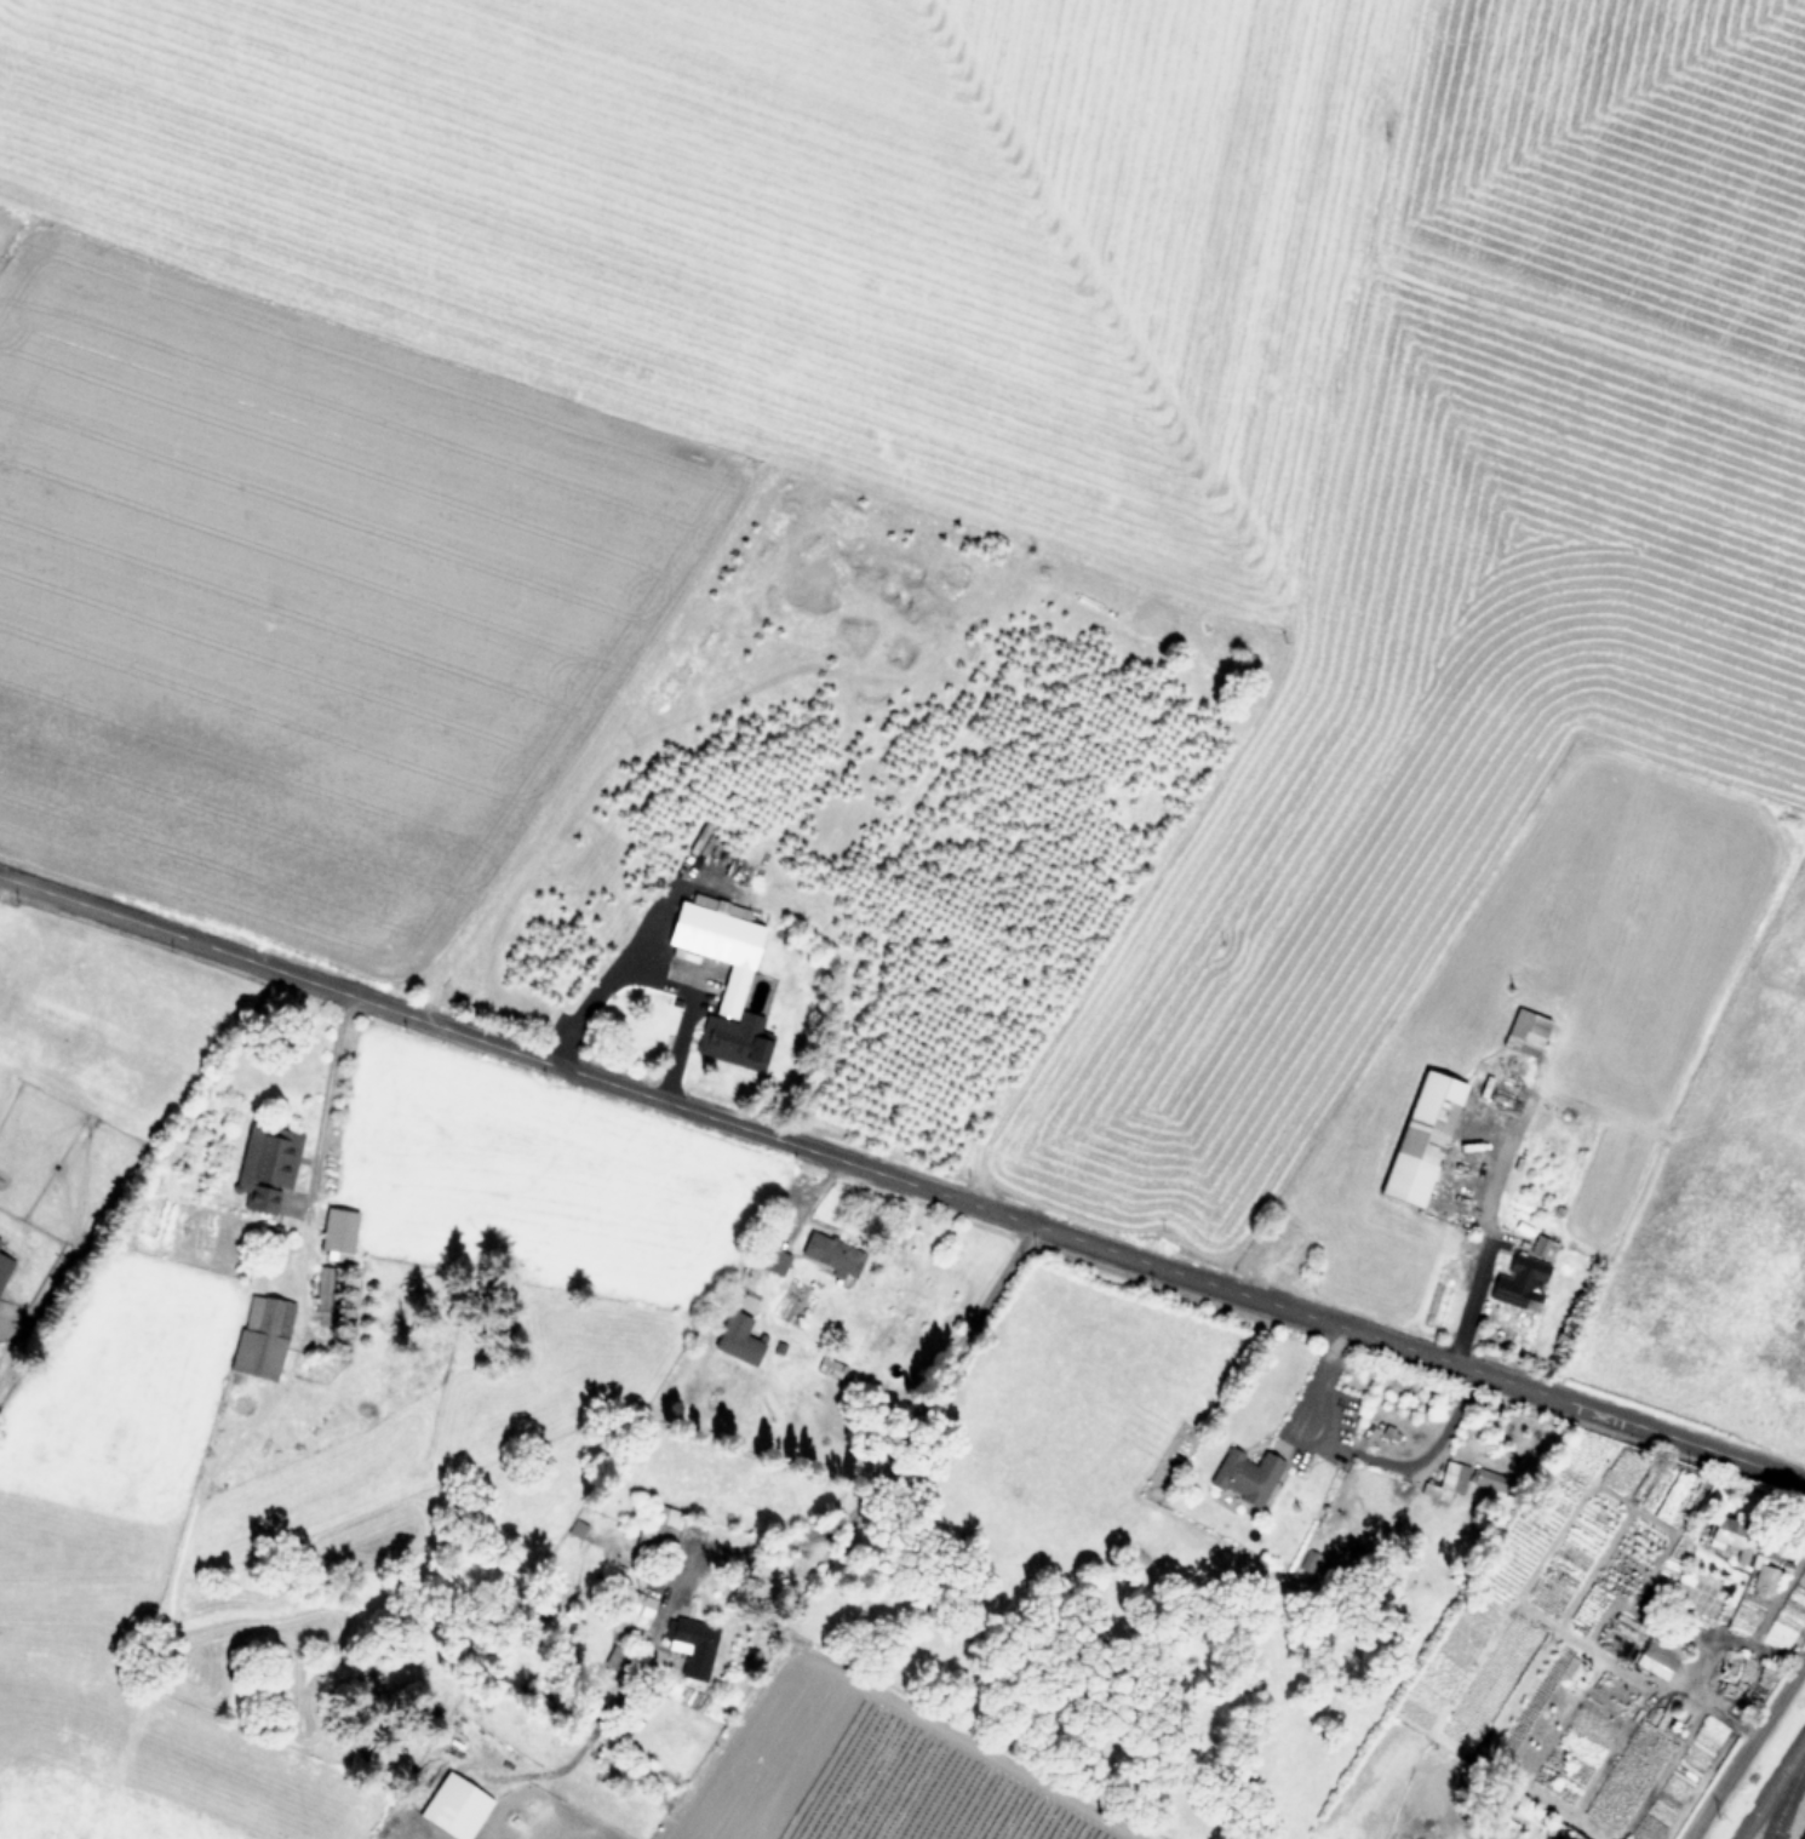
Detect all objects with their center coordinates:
crop: (980, 589)
road: (629, 950)
building: (733, 987)
road: (642, 989)
building: (1525, 1033)
road: (328, 1087)
building: (1422, 1140)
building: (264, 1167)
road: (901, 1179)
building: (337, 1234)
building: (1541, 1247)
road: (1480, 1249)
building: (830, 1254)
building: (774, 1261)
building: (4, 1266)
building: (1520, 1283)
building: (260, 1337)
building: (830, 1368)
road: (904, 1427)
road: (1363, 1455)
building: (1244, 1478)
building: (1491, 1480)
building: (1439, 1482)
crop: (753, 1494)
building: (658, 1531)
building: (1732, 1537)
building: (569, 1541)
building: (1764, 1581)
building: (624, 1589)
building: (684, 1645)
building: (1648, 1648)
building: (619, 1658)
road: (1747, 1751)
railway: (1771, 1787)
railway: (1786, 1799)
building: (1491, 1816)
crop: (1804, 1837)

